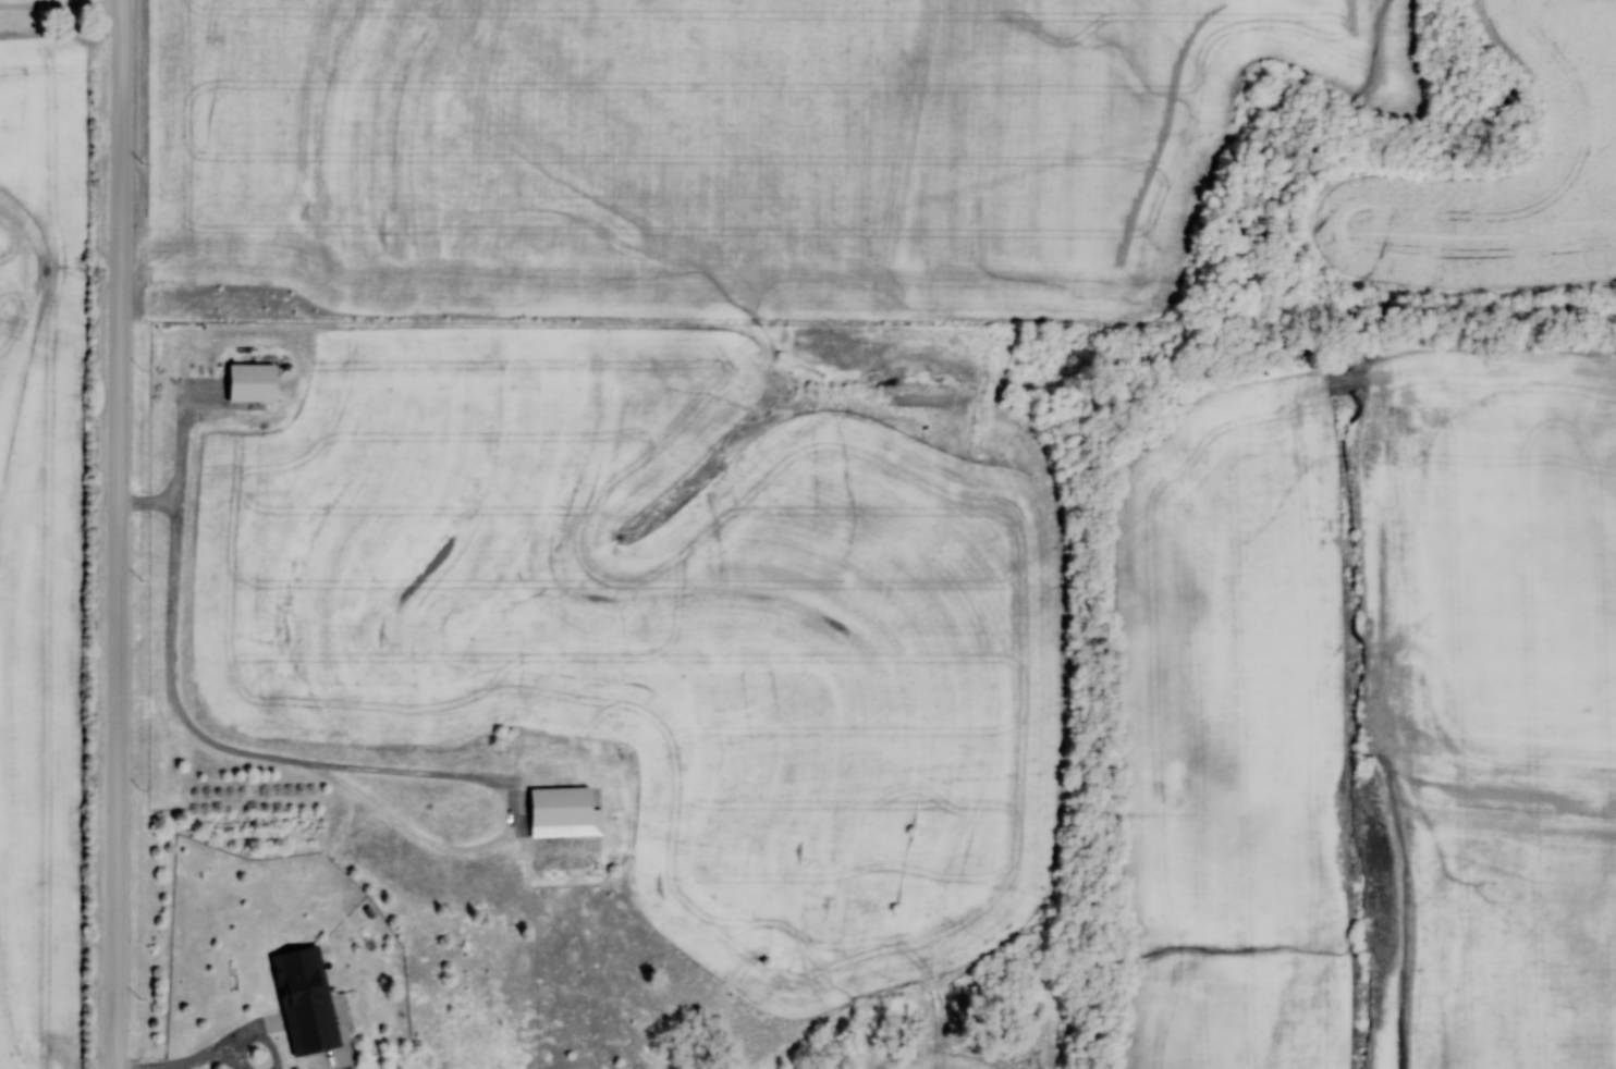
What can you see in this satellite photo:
road: (61, 5)
building: (248, 381)
road: (119, 534)
building: (736, 714)
building: (696, 760)
road: (345, 767)
building: (561, 812)
building: (303, 1000)
road: (254, 1036)
road: (192, 1061)
road: (227, 1061)

